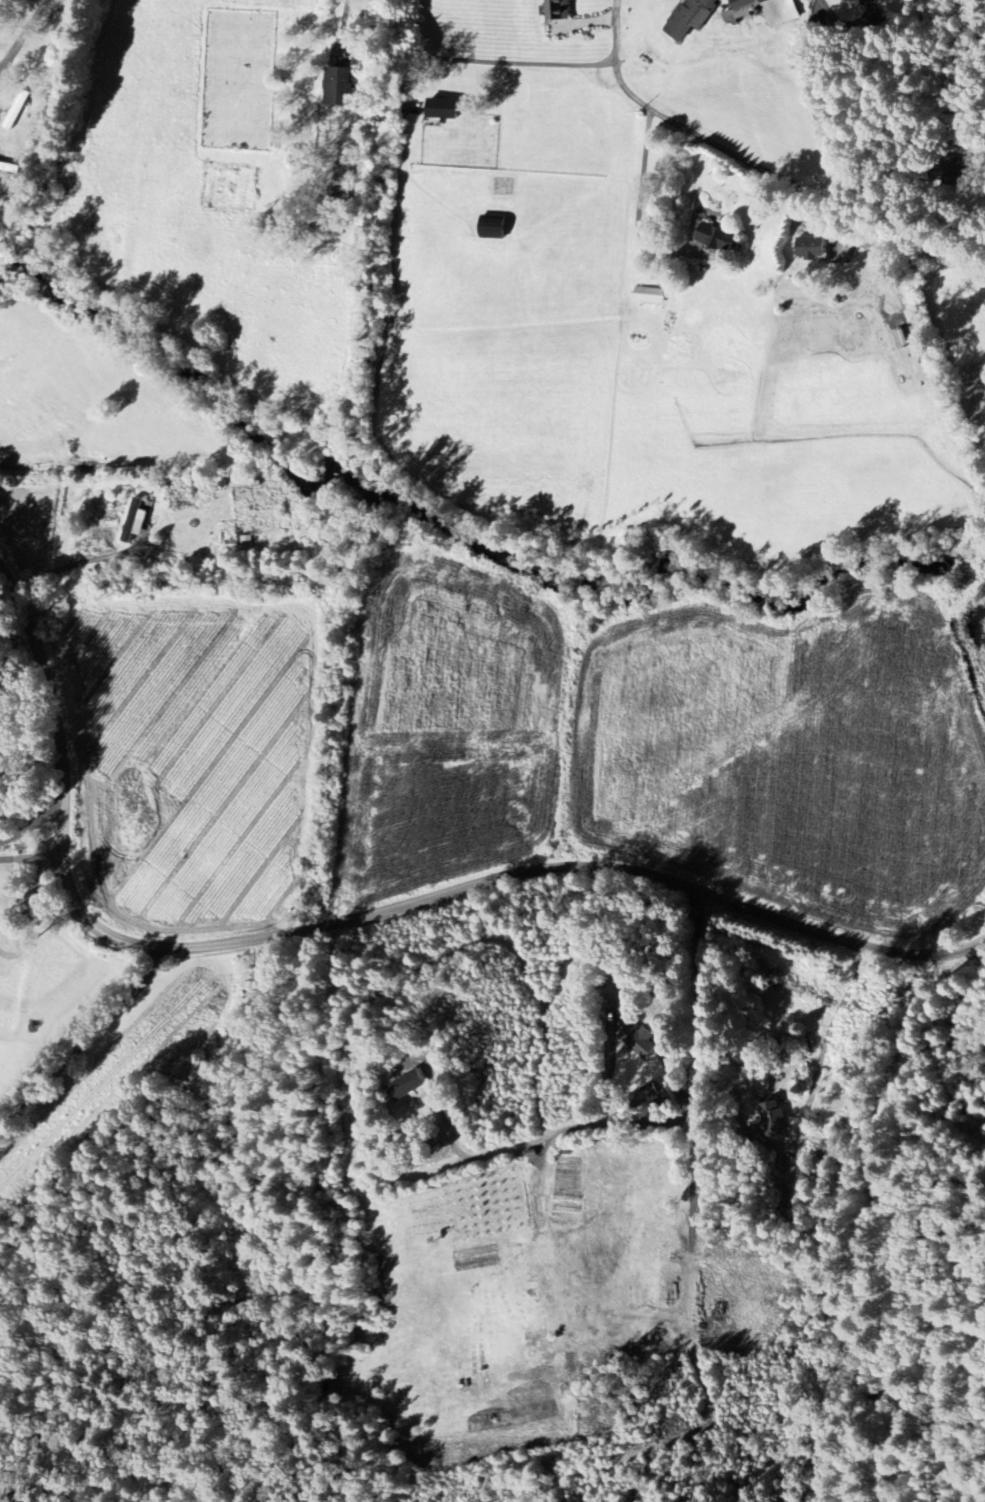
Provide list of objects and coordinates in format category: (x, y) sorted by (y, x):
building: (868, 2)
building: (556, 10)
building: (781, 13)
building: (690, 18)
road: (343, 19)
road: (23, 35)
road: (502, 59)
road: (905, 61)
building: (337, 88)
building: (442, 110)
road: (670, 117)
road: (641, 198)
building: (492, 229)
building: (715, 239)
building: (810, 249)
building: (648, 296)
building: (901, 340)
building: (133, 522)
building: (246, 543)
road: (81, 561)
road: (34, 831)
road: (34, 906)
road: (346, 918)
building: (615, 983)
road: (943, 1007)
building: (638, 1041)
building: (404, 1087)
building: (773, 1119)
road: (645, 1121)

